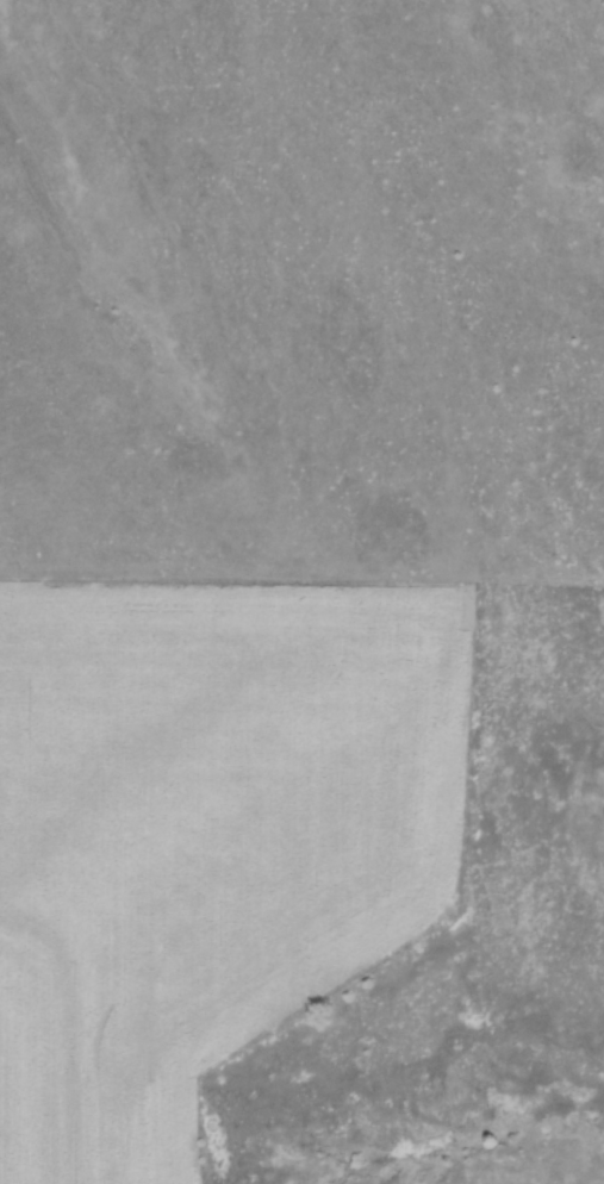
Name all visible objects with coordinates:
crop: (206, 831)

